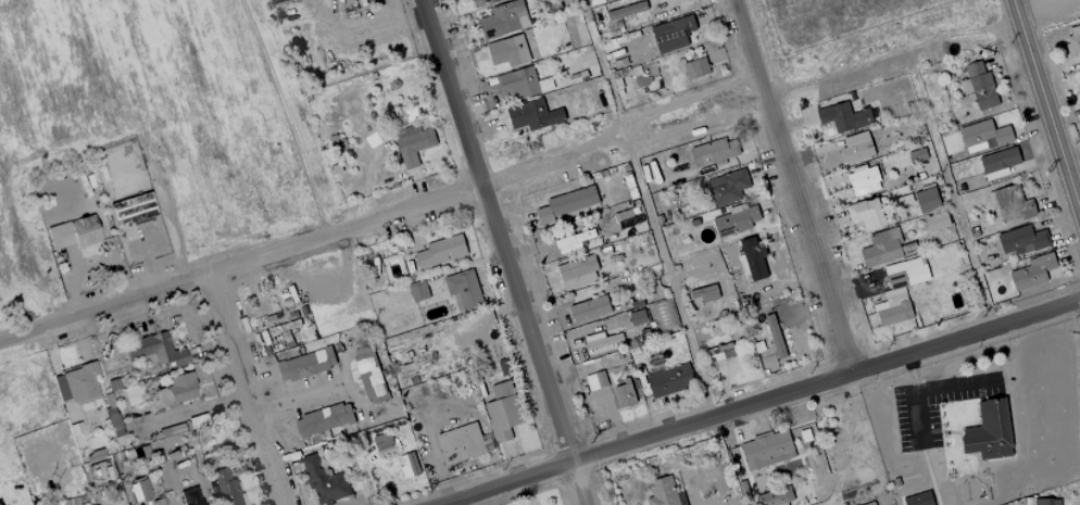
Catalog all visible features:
building: (481, 2)
road: (1026, 3)
building: (621, 12)
building: (503, 20)
building: (671, 34)
building: (1072, 40)
building: (507, 51)
road: (889, 53)
building: (695, 68)
building: (1079, 80)
building: (518, 83)
building: (978, 86)
road: (1046, 105)
building: (402, 115)
building: (532, 115)
building: (843, 117)
building: (983, 136)
building: (412, 143)
building: (856, 147)
building: (713, 152)
building: (917, 155)
building: (997, 162)
building: (863, 180)
road: (789, 186)
building: (727, 187)
building: (926, 200)
building: (567, 203)
building: (1010, 203)
building: (131, 207)
building: (865, 214)
road: (381, 218)
building: (937, 220)
road: (654, 228)
building: (74, 231)
building: (1021, 239)
building: (573, 240)
building: (881, 248)
building: (440, 251)
road: (502, 252)
building: (753, 257)
building: (577, 272)
building: (1032, 272)
building: (463, 290)
building: (899, 290)
road: (71, 294)
building: (589, 308)
building: (302, 310)
building: (663, 315)
building: (637, 317)
building: (282, 327)
building: (285, 336)
building: (774, 337)
building: (279, 346)
building: (154, 349)
building: (723, 356)
building: (305, 363)
building: (368, 375)
building: (668, 380)
building: (77, 383)
road: (951, 383)
road: (243, 389)
building: (174, 390)
building: (627, 393)
road: (912, 396)
road: (297, 397)
road: (754, 400)
building: (502, 411)
building: (323, 419)
building: (113, 421)
building: (988, 431)
building: (460, 442)
building: (382, 444)
building: (766, 450)
building: (407, 465)
building: (324, 480)
building: (139, 488)
building: (226, 488)
building: (665, 491)
building: (191, 496)
building: (775, 496)
building: (918, 498)
building: (153, 502)
building: (1046, 502)

